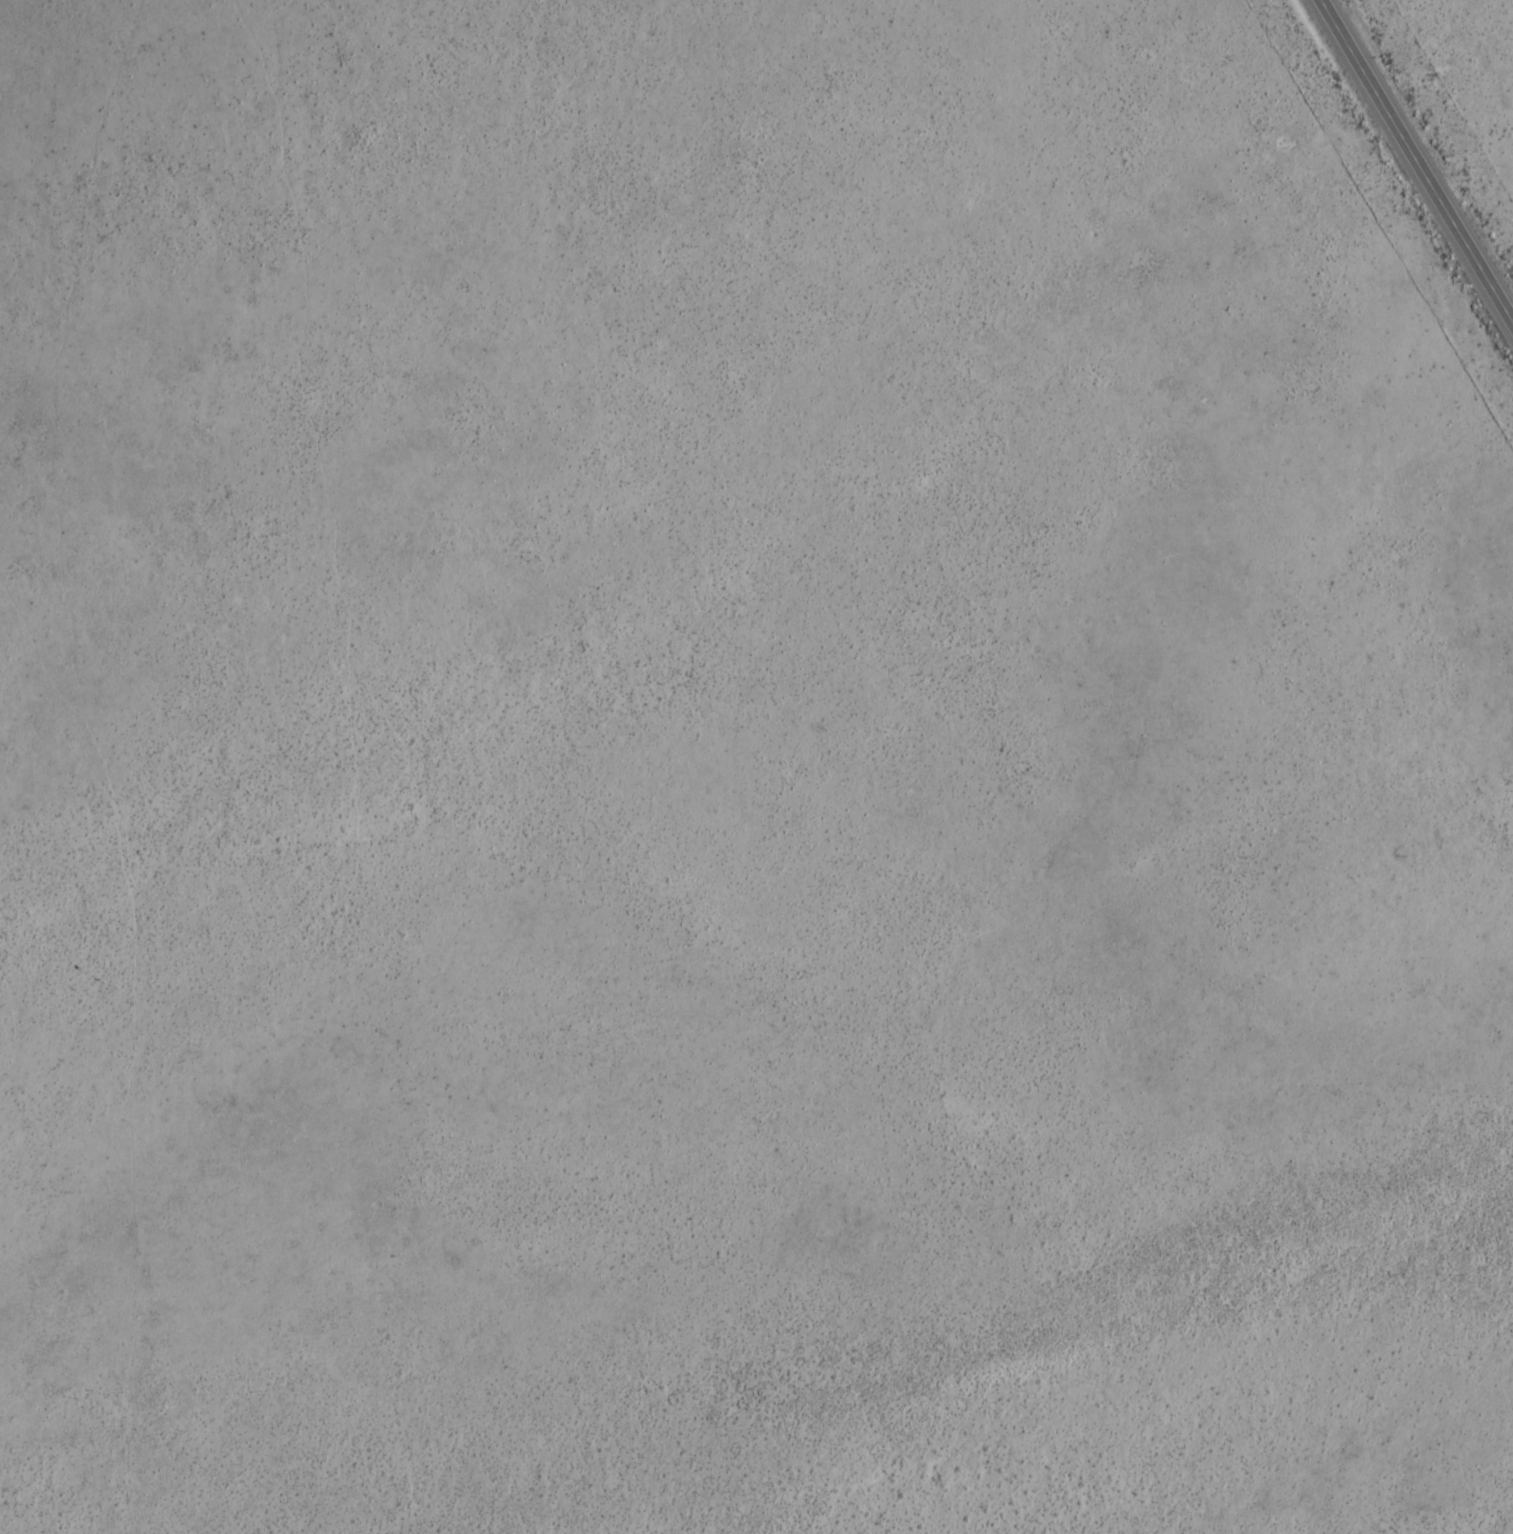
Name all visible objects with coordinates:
road: (1414, 171)

